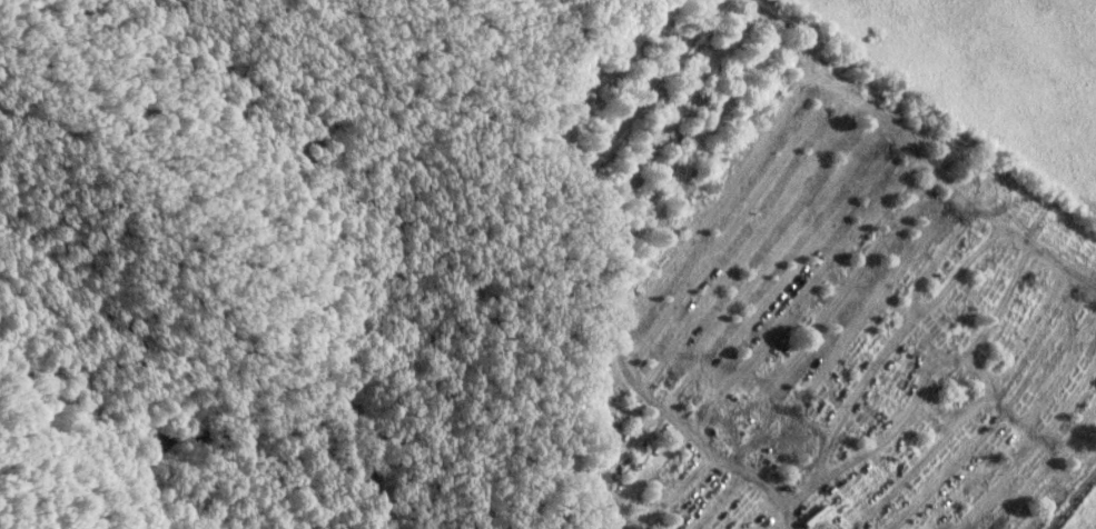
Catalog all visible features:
road: (265, 430)

